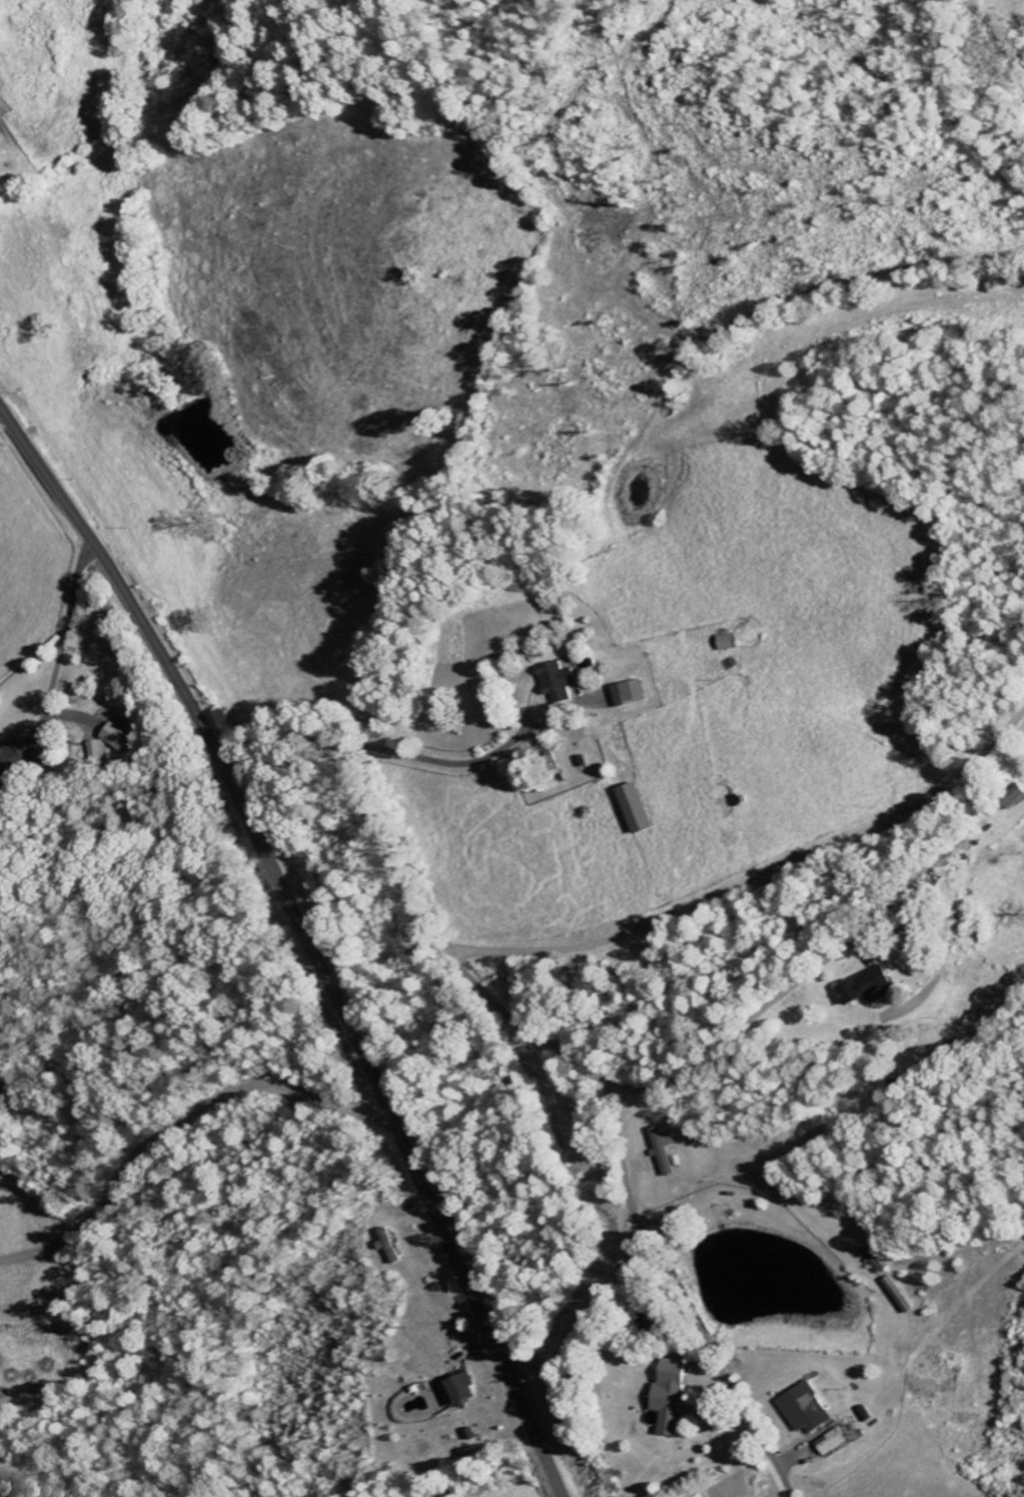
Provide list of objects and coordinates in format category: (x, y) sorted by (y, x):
building: (734, 643)
building: (564, 682)
building: (634, 694)
road: (272, 736)
building: (123, 737)
building: (17, 762)
building: (642, 810)
road: (301, 938)
building: (871, 986)
road: (546, 1036)
building: (669, 1150)
building: (392, 1246)
building: (881, 1258)
road: (683, 1292)
building: (465, 1390)
building: (676, 1397)
building: (810, 1409)
building: (835, 1442)

